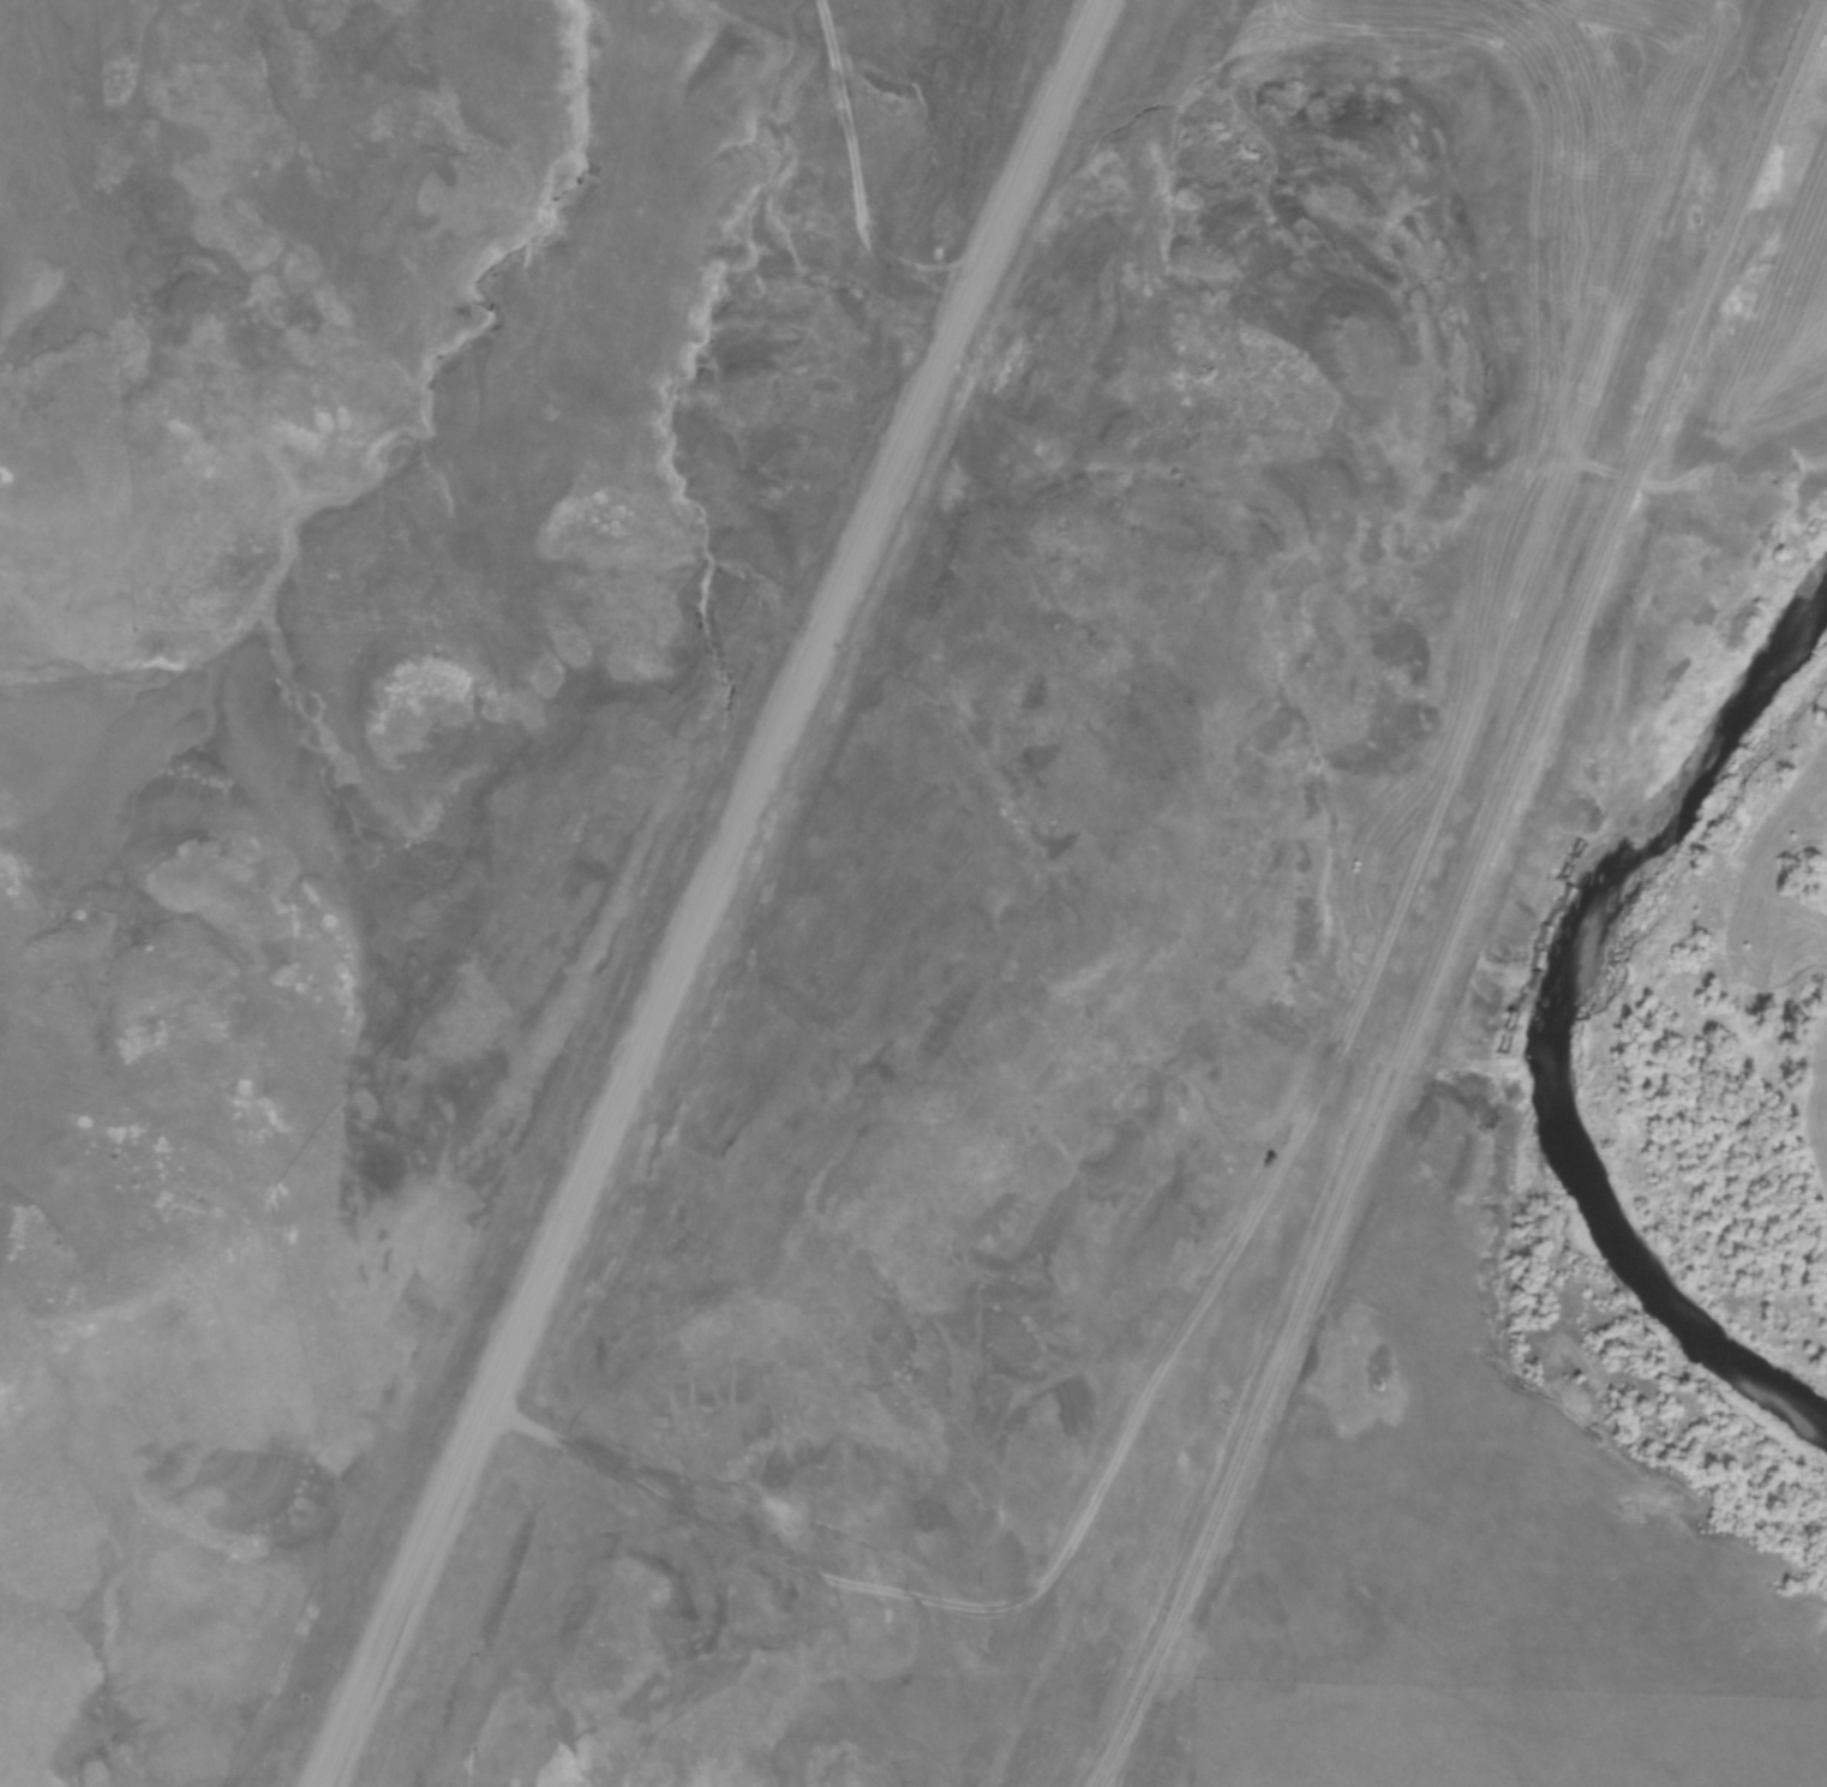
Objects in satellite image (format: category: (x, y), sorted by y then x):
road: (703, 893)
railway: (1460, 897)
river: (1539, 1020)

